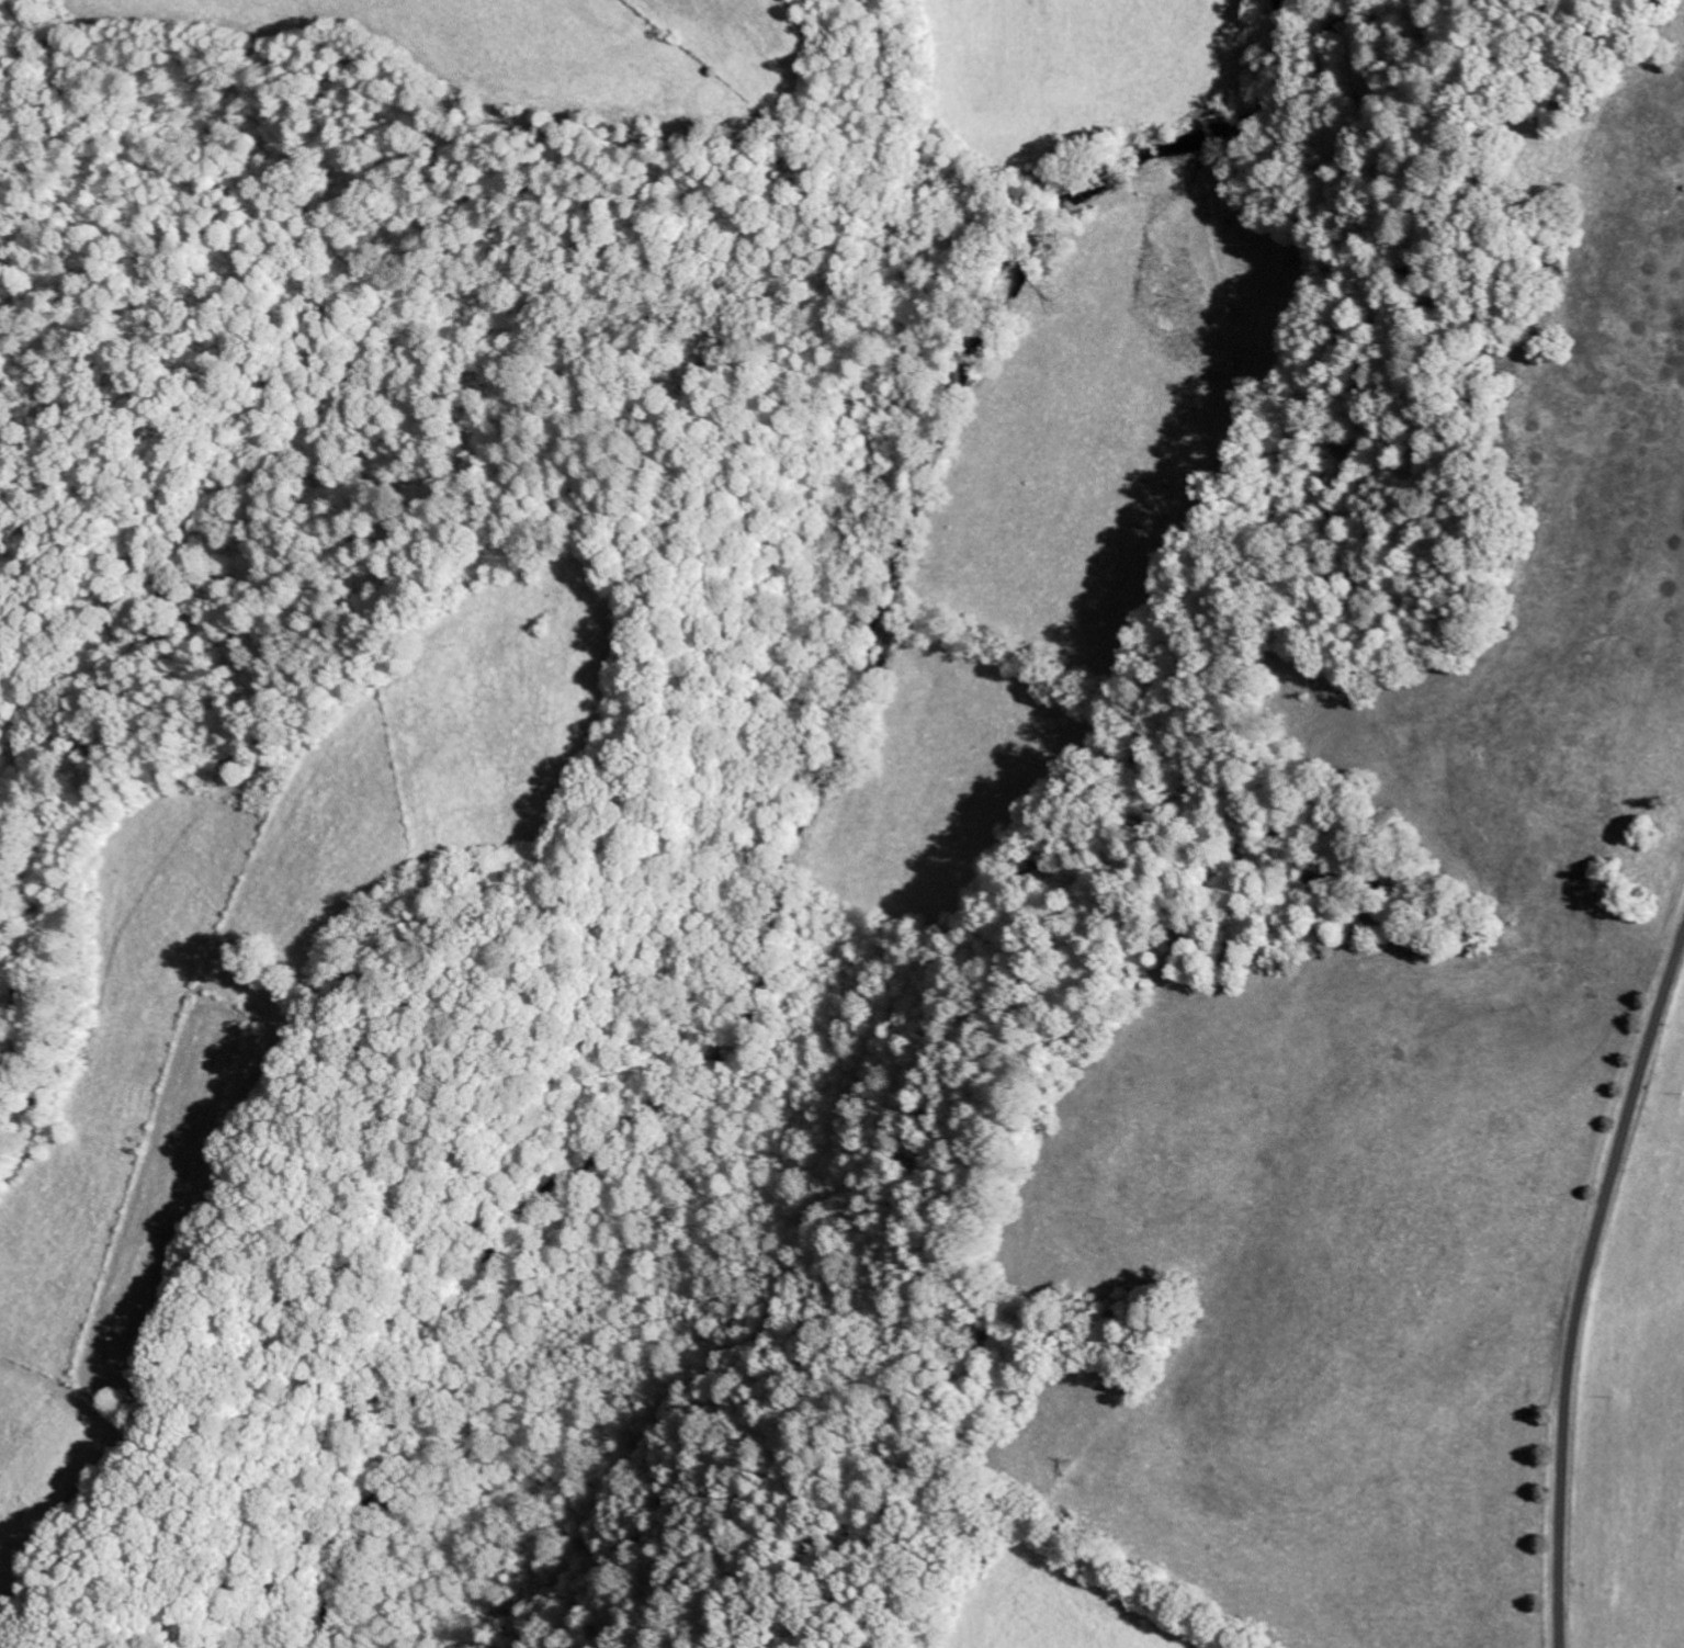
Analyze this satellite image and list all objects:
road: (1583, 1285)

